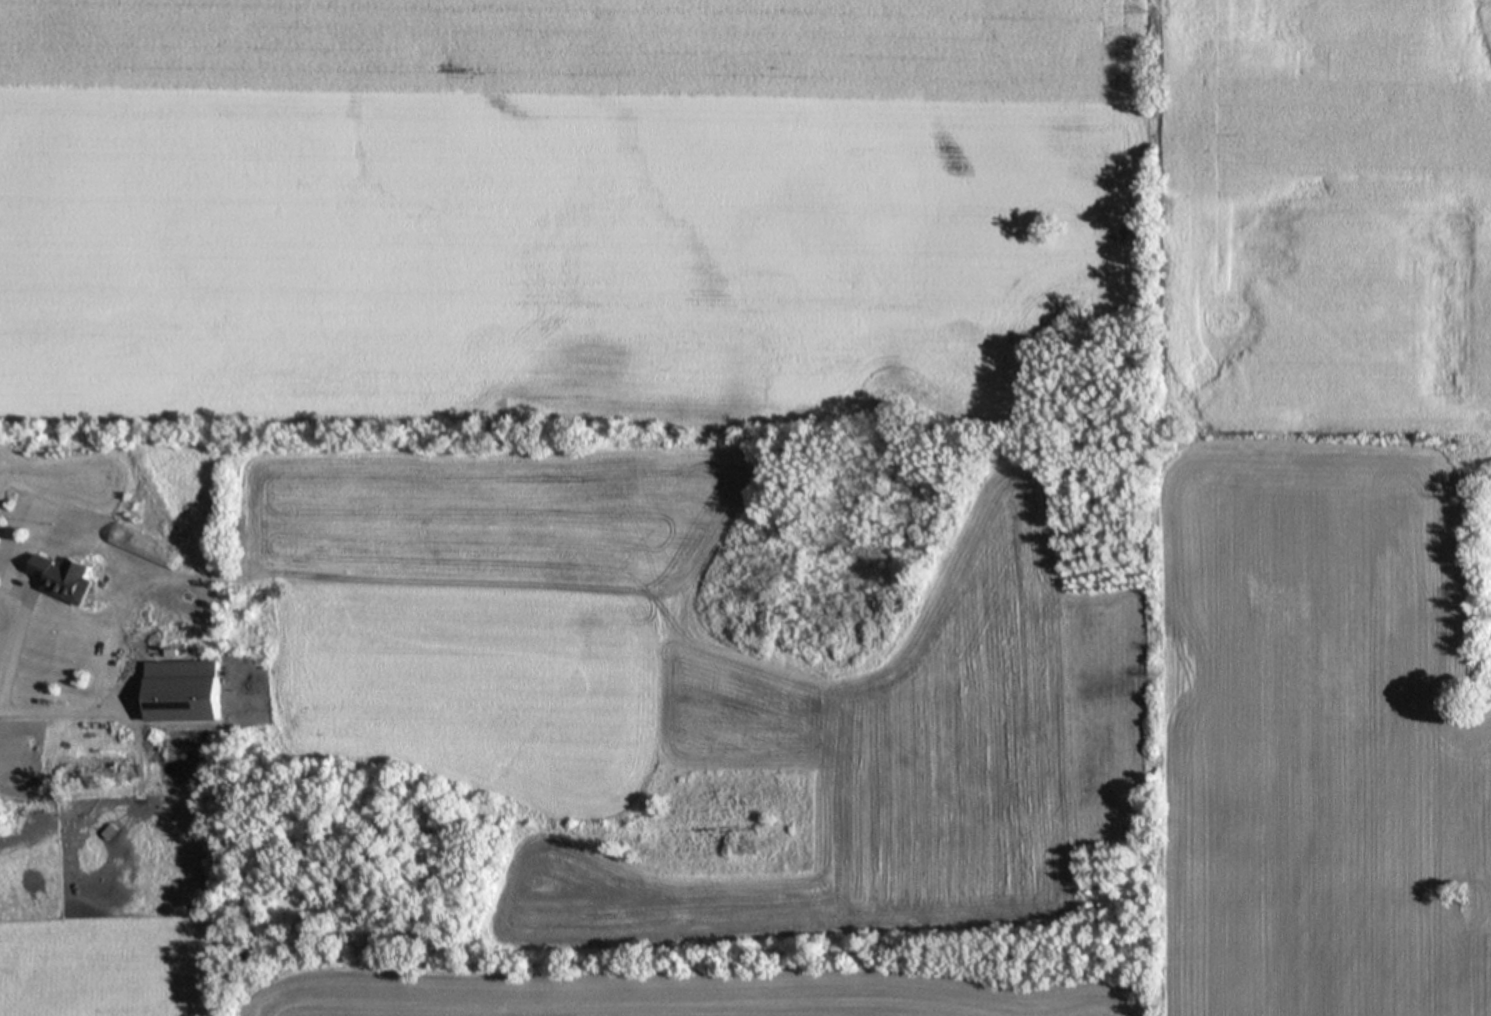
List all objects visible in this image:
building: (304, 536)
building: (146, 548)
building: (66, 581)
road: (14, 653)
building: (184, 694)
road: (56, 712)

